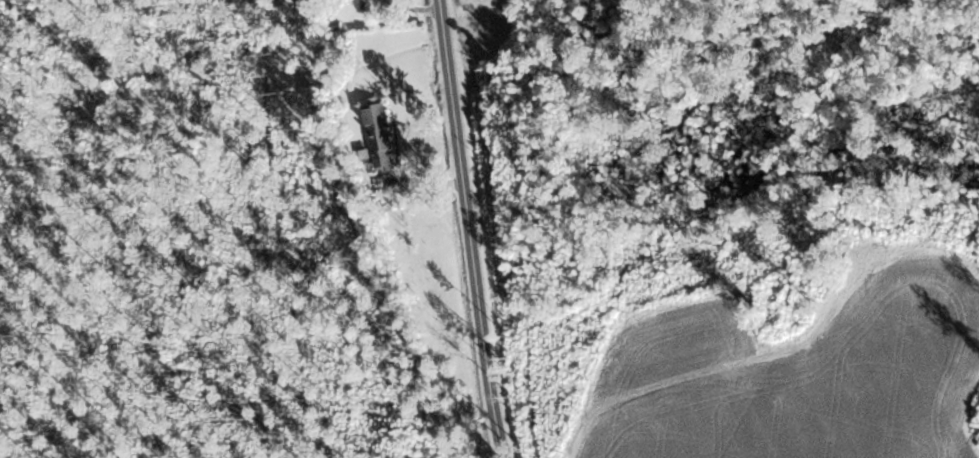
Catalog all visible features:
building: (377, 135)
road: (472, 229)

